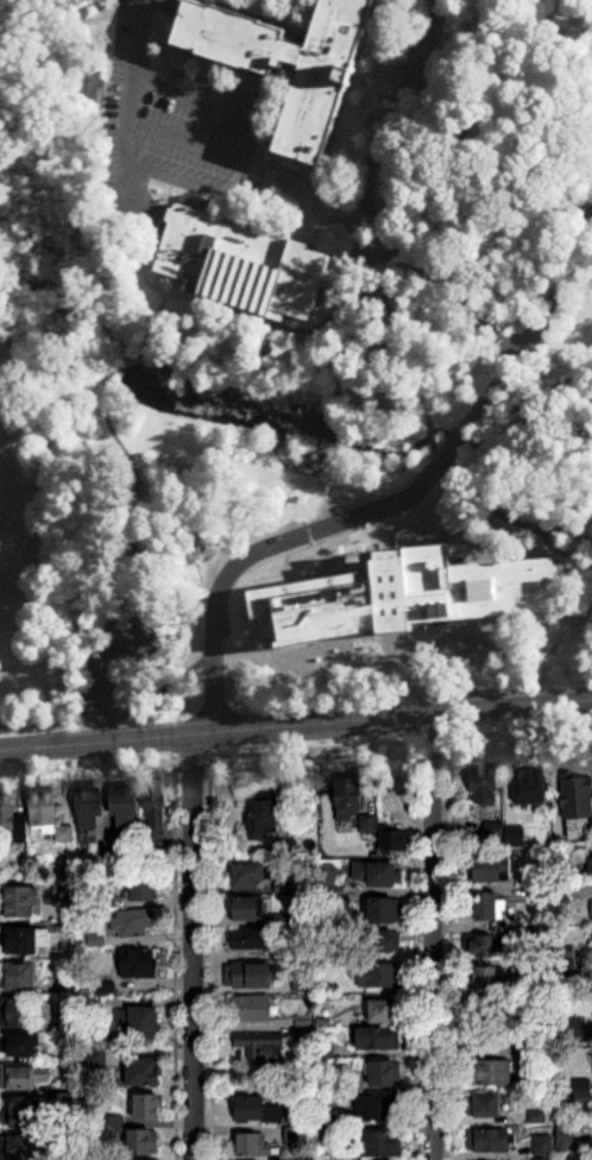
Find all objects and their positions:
road: (470, 34)
building: (90, 82)
road: (131, 83)
building: (327, 83)
road: (395, 100)
road: (216, 103)
road: (247, 162)
building: (246, 264)
road: (442, 280)
road: (534, 334)
park: (33, 374)
road: (455, 443)
road: (386, 582)
building: (495, 584)
road: (313, 587)
road: (168, 687)
road: (105, 699)
road: (53, 720)
road: (296, 729)
building: (393, 777)
building: (485, 786)
building: (349, 795)
building: (128, 808)
building: (578, 808)
building: (90, 809)
building: (49, 817)
building: (156, 817)
building: (263, 818)
building: (12, 820)
building: (398, 832)
building: (591, 862)
building: (493, 869)
building: (374, 875)
building: (250, 876)
building: (143, 888)
building: (62, 891)
building: (23, 901)
building: (487, 906)
building: (250, 909)
building: (591, 909)
building: (384, 910)
building: (133, 923)
road: (432, 938)
building: (24, 940)
building: (252, 940)
building: (383, 941)
building: (486, 945)
road: (194, 948)
building: (139, 963)
building: (544, 970)
building: (250, 975)
building: (382, 976)
building: (20, 977)
building: (486, 977)
building: (251, 1008)
building: (487, 1008)
building: (384, 1011)
building: (20, 1013)
building: (144, 1023)
building: (575, 1027)
building: (378, 1039)
building: (487, 1040)
building: (19, 1045)
building: (262, 1048)
building: (145, 1071)
building: (493, 1072)
building: (383, 1074)
building: (23, 1077)
building: (581, 1091)
building: (485, 1105)
building: (149, 1107)
building: (379, 1108)
building: (23, 1111)
building: (489, 1140)
building: (144, 1142)
building: (382, 1143)
building: (253, 1145)
building: (543, 1146)
building: (21, 1147)
building: (543, 1159)

